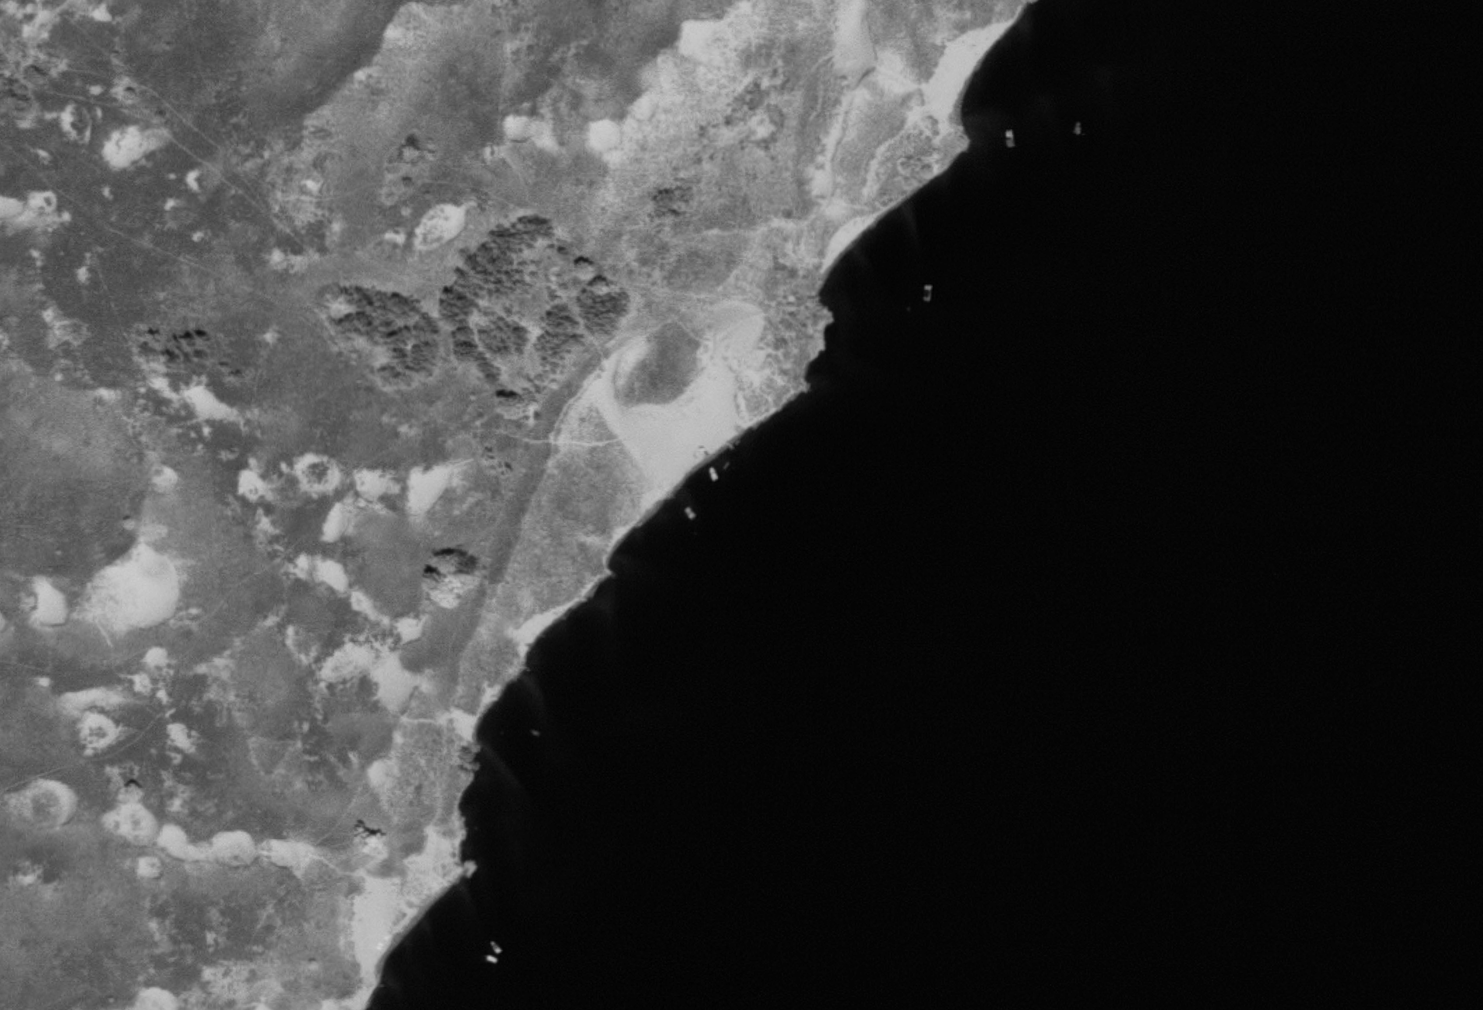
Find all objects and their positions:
park: (382, 418)

